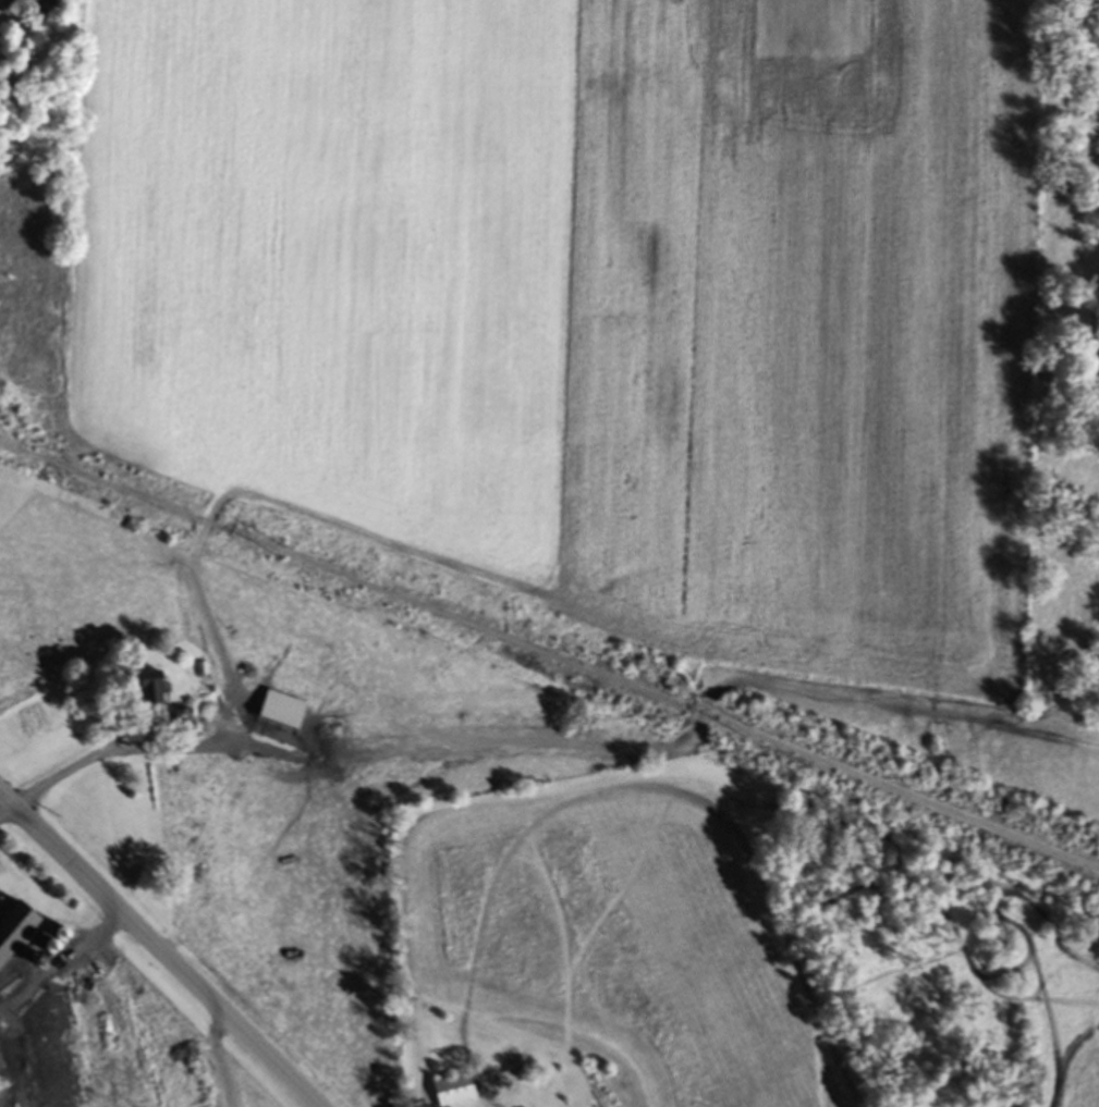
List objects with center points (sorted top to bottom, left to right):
building: (11, 3)
road: (21, 115)
power tower: (289, 557)
building: (151, 692)
road: (901, 710)
building: (282, 713)
building: (184, 724)
power tower: (752, 736)
road: (109, 748)
road: (400, 758)
building: (14, 931)
road: (161, 949)
building: (171, 1010)
building: (1, 1067)
building: (455, 1092)

